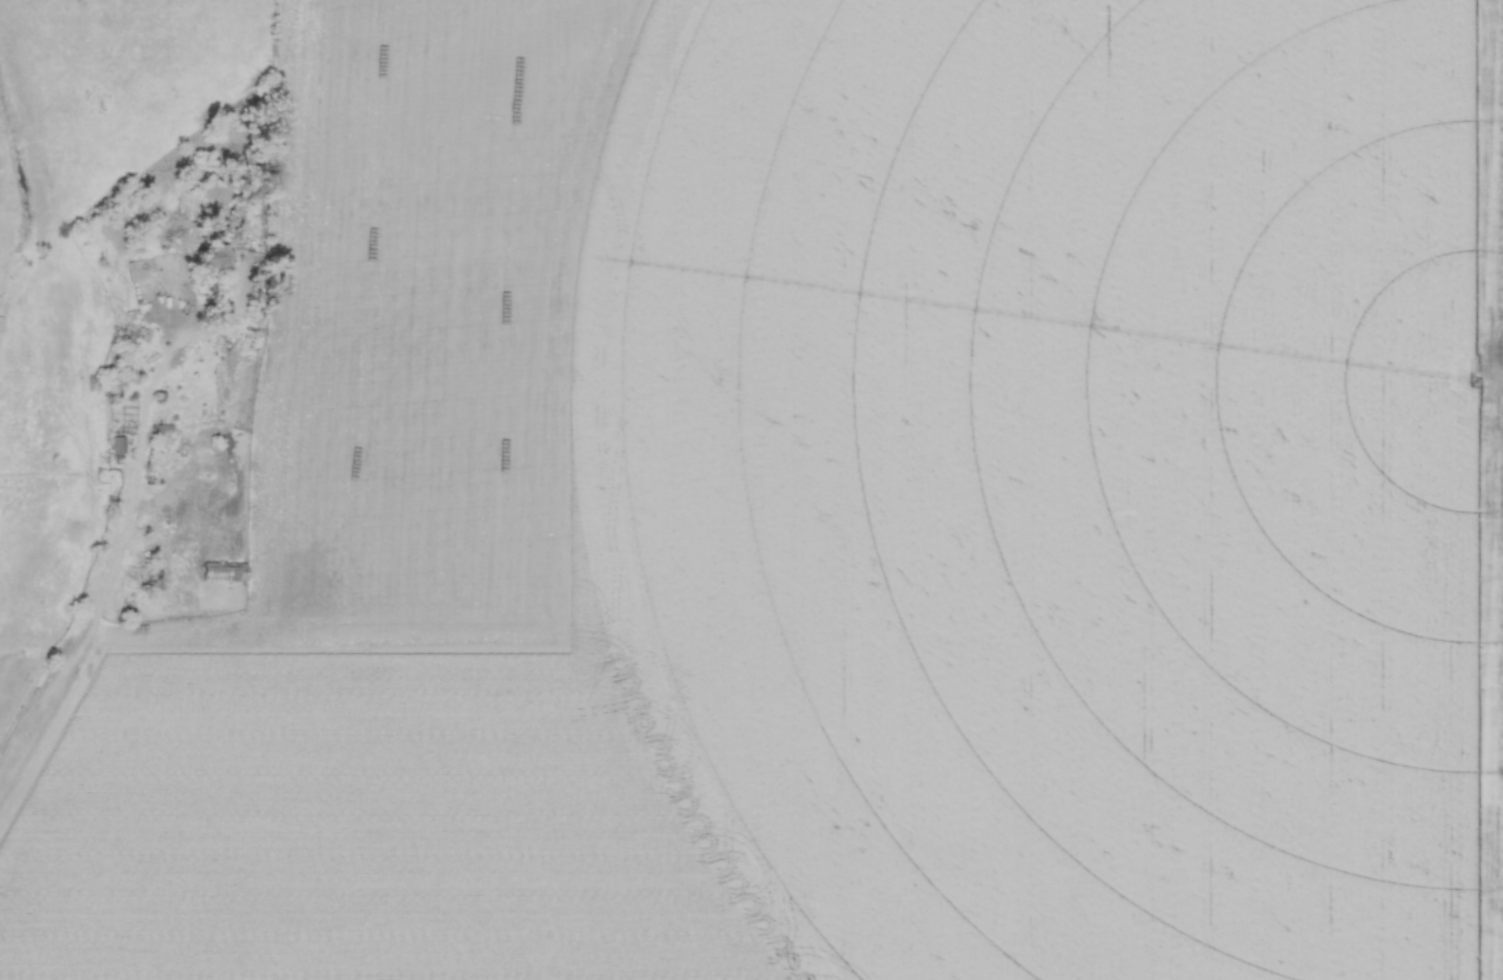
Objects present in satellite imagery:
building: (215, 259)
building: (120, 445)
road: (114, 569)
building: (224, 571)

